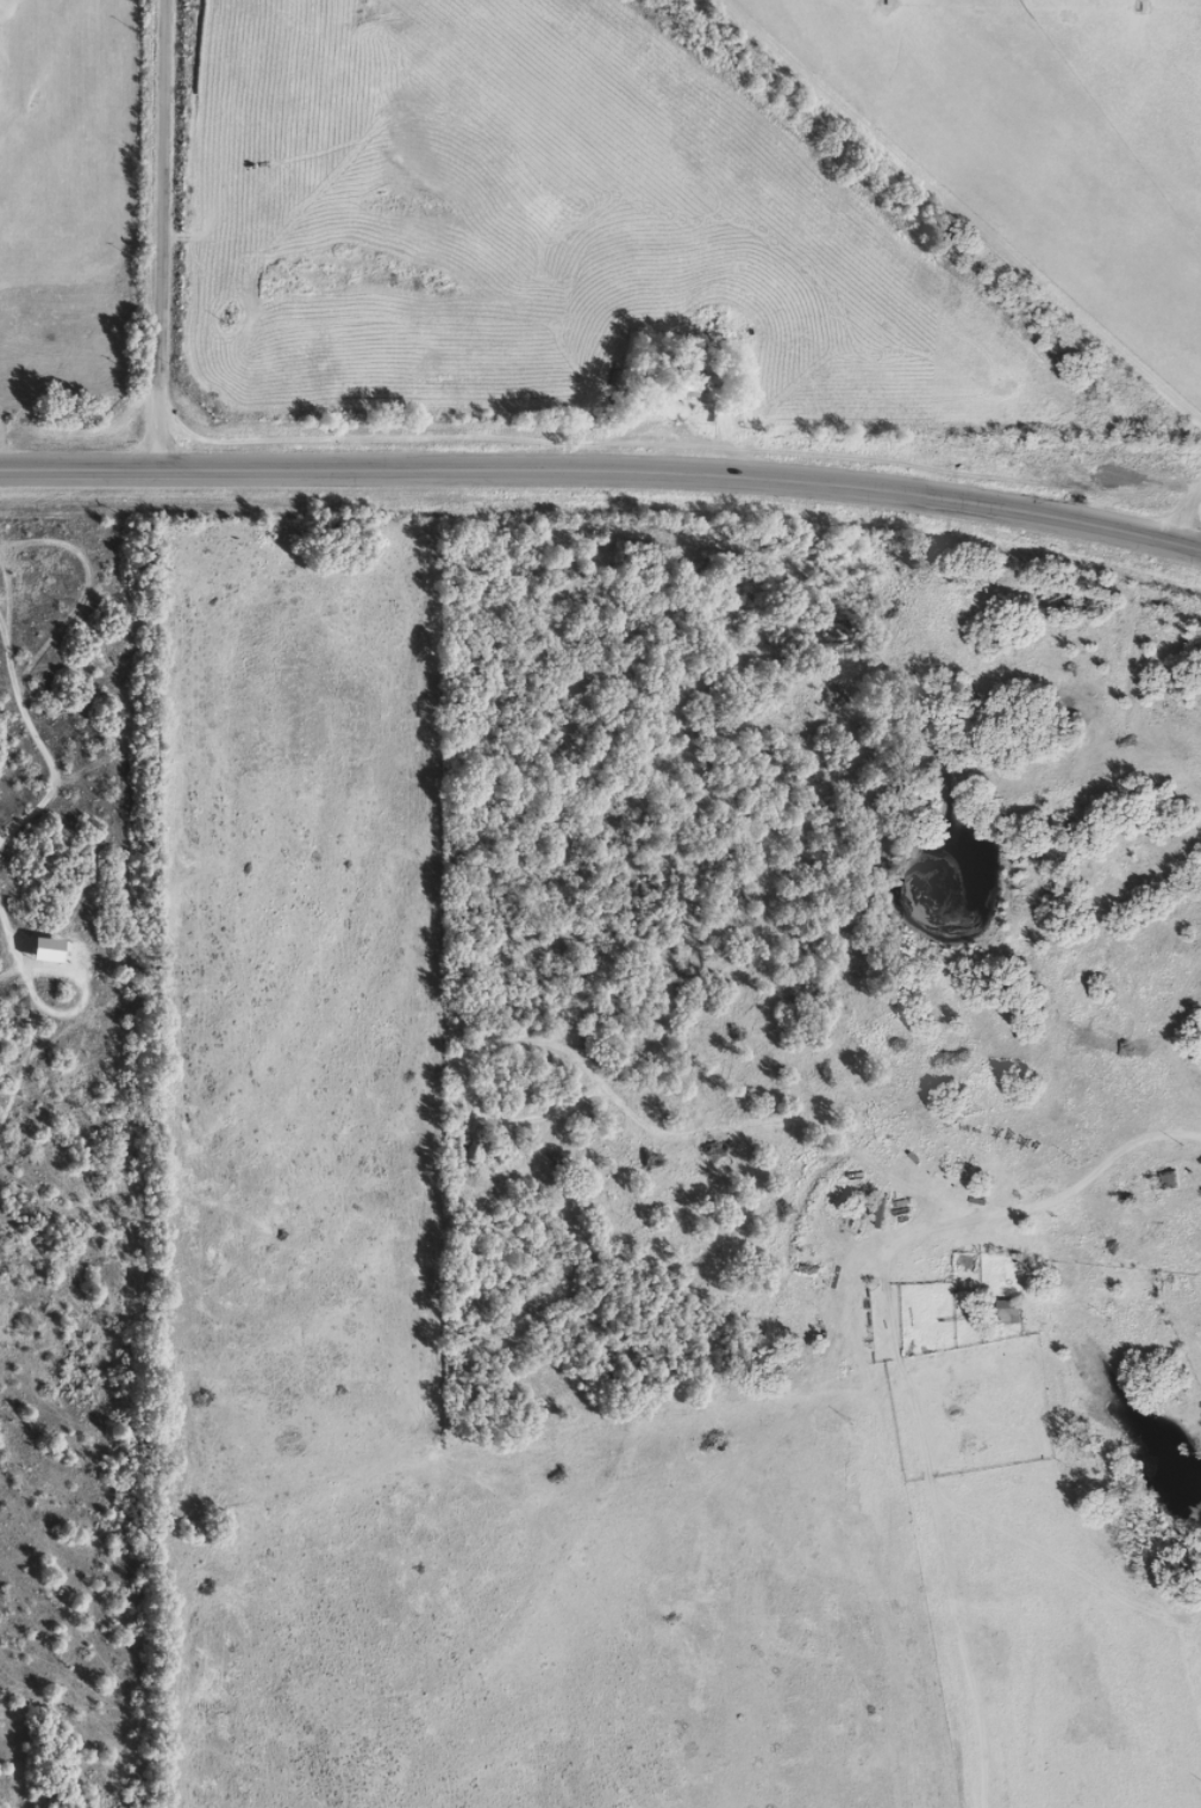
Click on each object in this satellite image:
road: (184, 236)
road: (603, 473)
road: (1180, 524)
building: (50, 959)
road: (1051, 1232)

